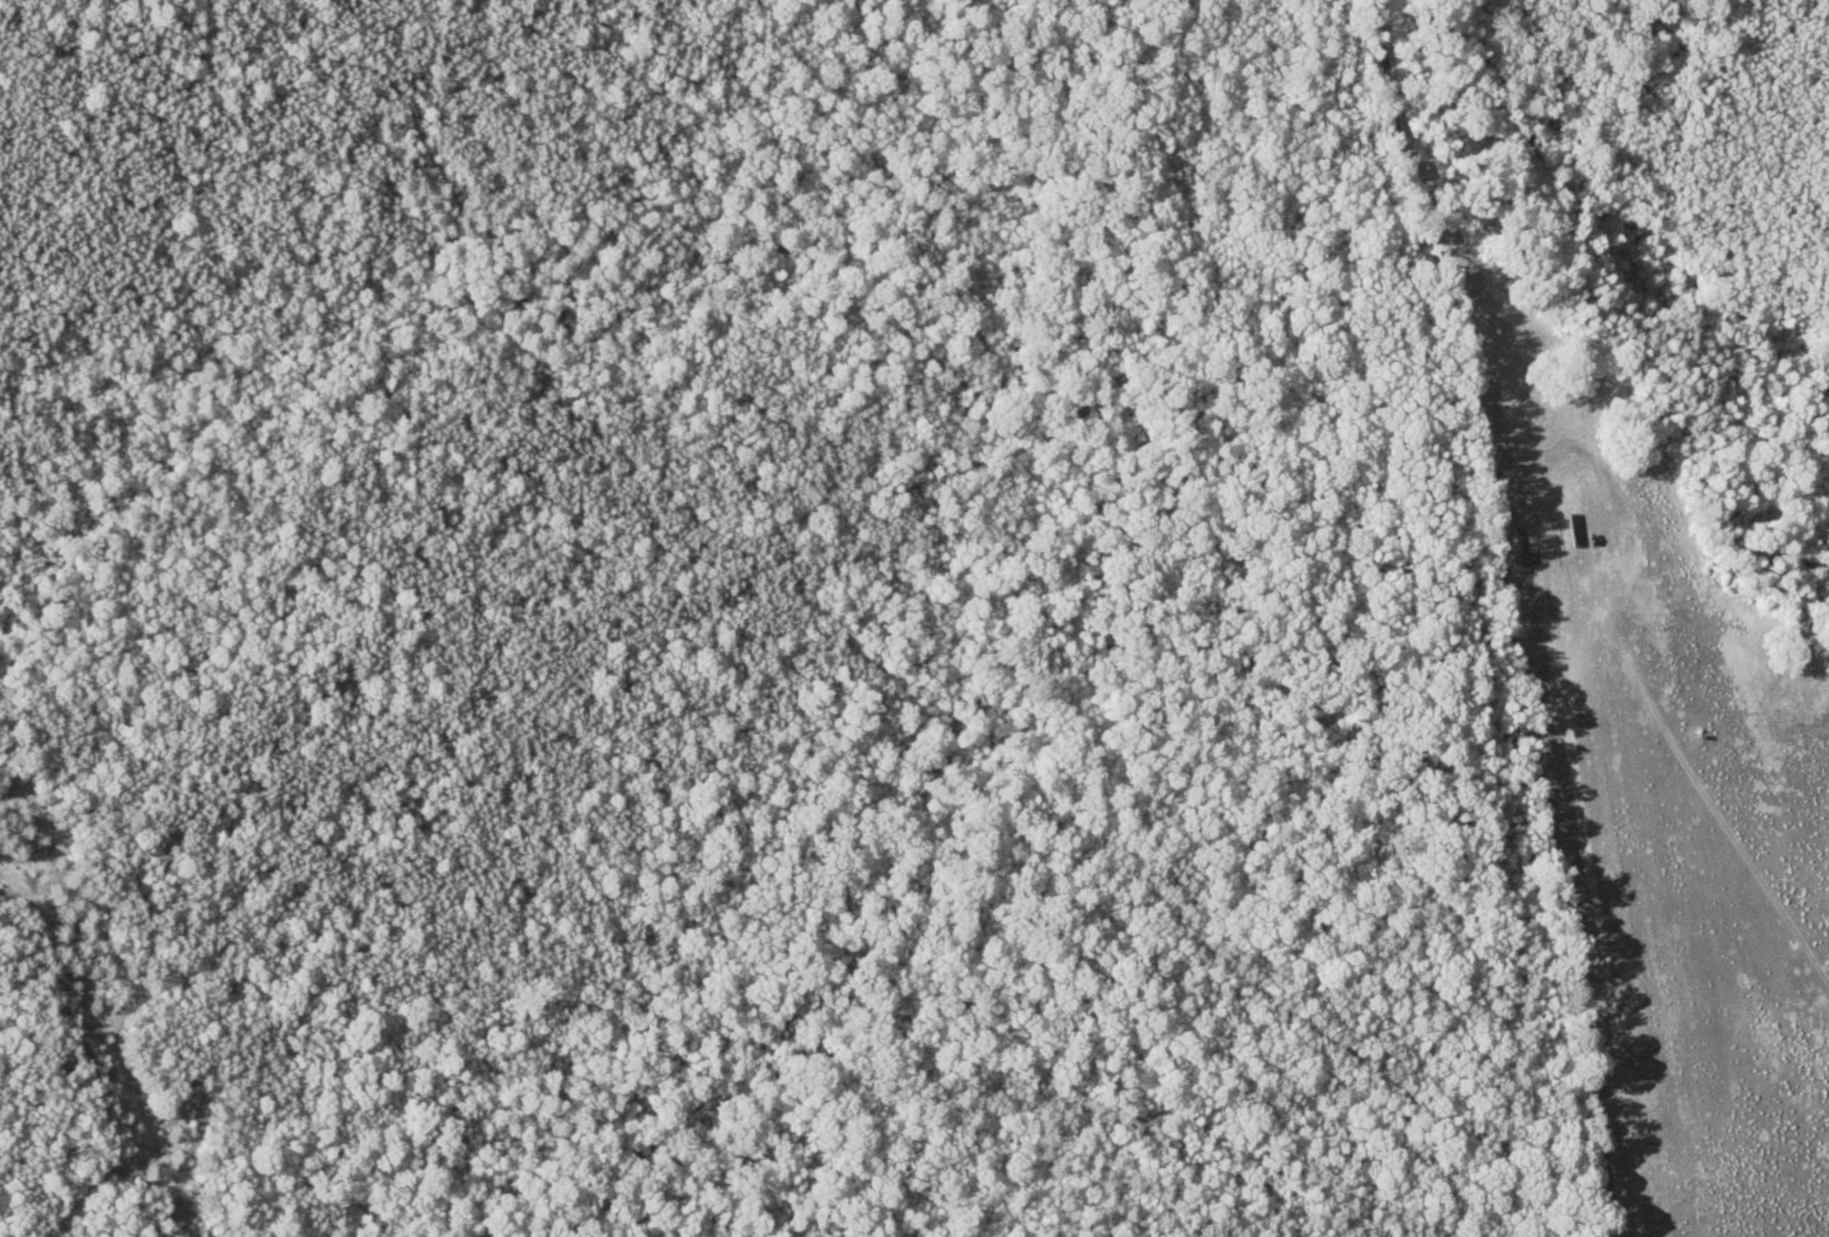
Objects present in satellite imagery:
road: (1513, 614)

